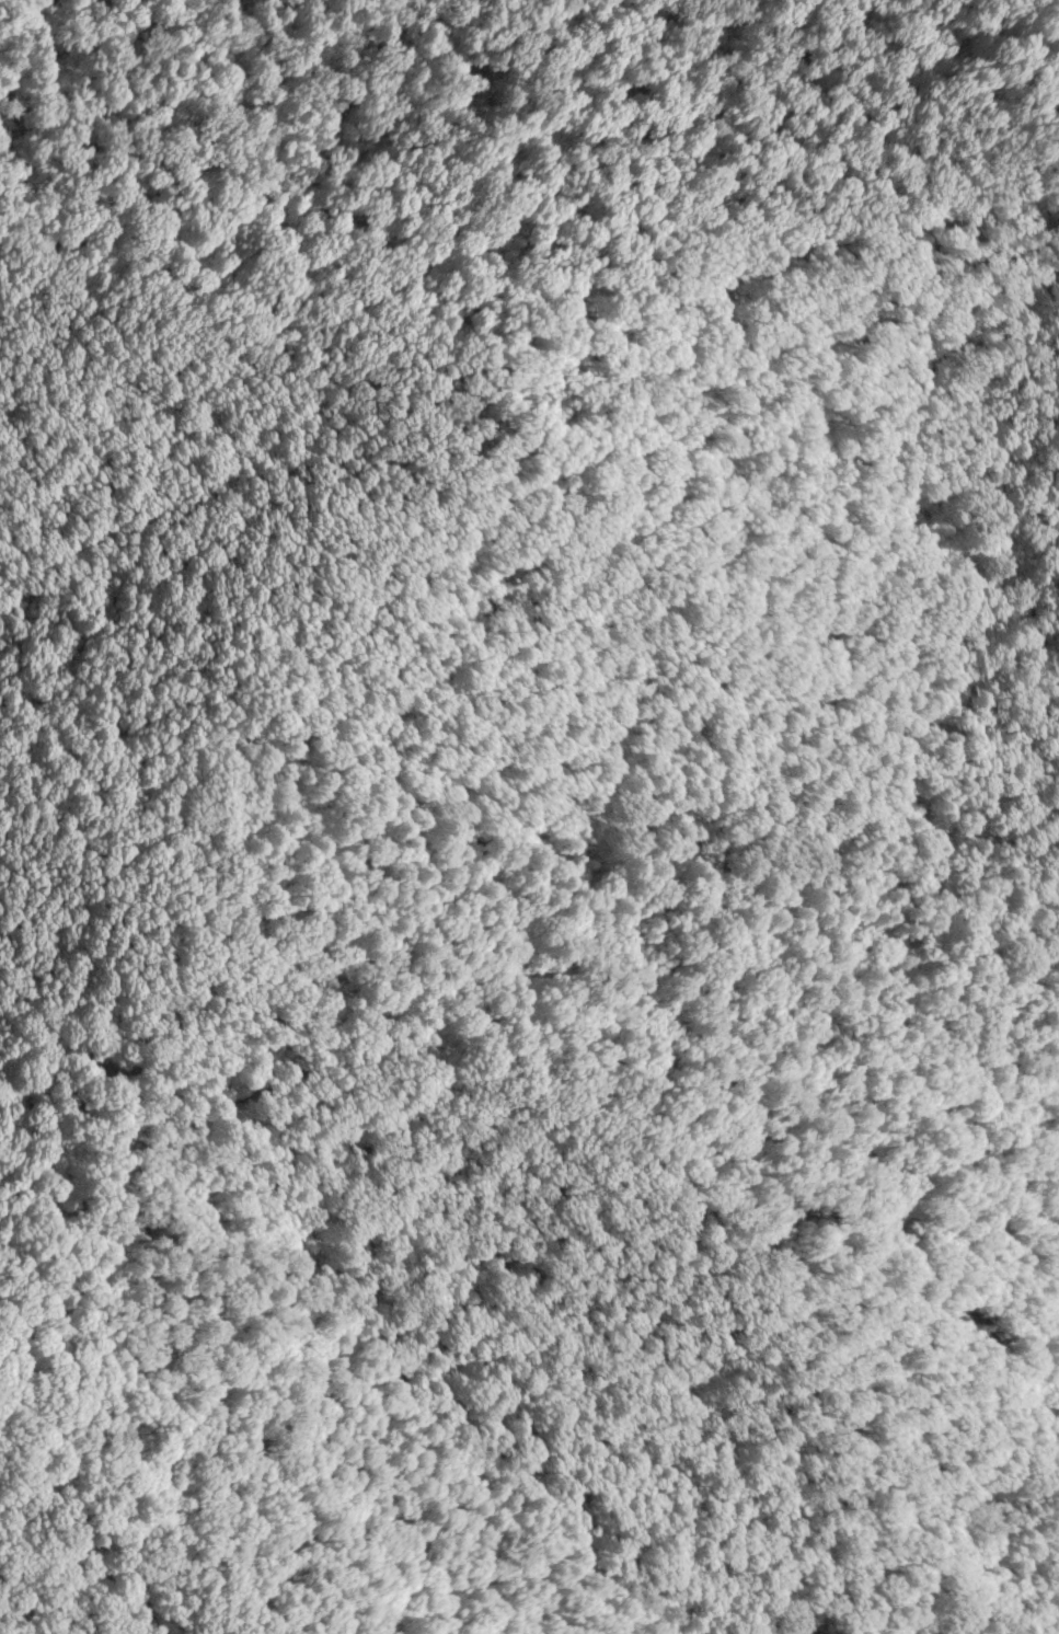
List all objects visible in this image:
road: (1027, 1596)

